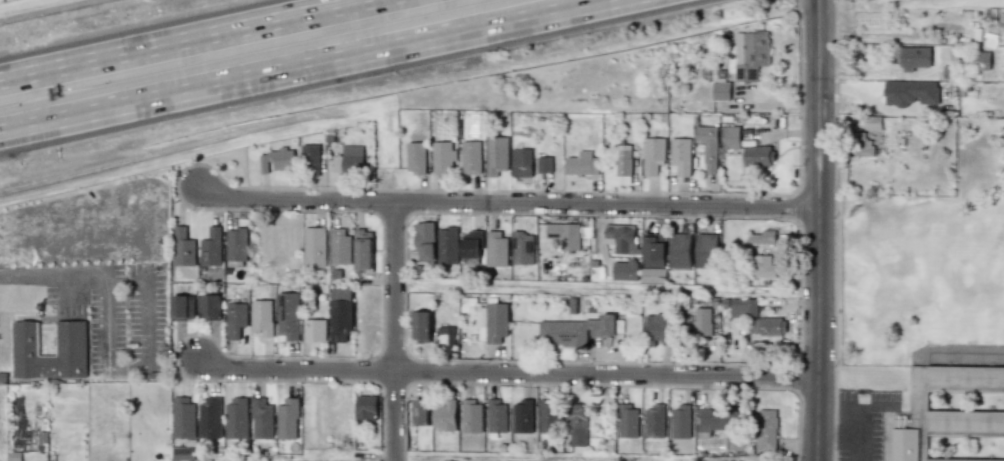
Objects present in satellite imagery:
road: (182, 39)
building: (750, 55)
building: (915, 59)
building: (981, 59)
road: (325, 68)
building: (721, 91)
building: (910, 92)
building: (873, 122)
building: (731, 137)
building: (859, 144)
building: (707, 147)
building: (497, 155)
building: (652, 155)
building: (680, 155)
building: (759, 156)
building: (443, 157)
building: (416, 158)
building: (471, 158)
building: (277, 160)
building: (310, 160)
building: (521, 163)
building: (545, 164)
building: (582, 164)
building: (623, 164)
road: (296, 200)
road: (606, 207)
road: (816, 230)
building: (565, 235)
building: (764, 237)
building: (620, 238)
building: (425, 241)
building: (236, 244)
building: (447, 245)
building: (183, 247)
building: (314, 247)
building: (340, 247)
building: (471, 247)
building: (211, 248)
building: (497, 248)
building: (523, 248)
building: (364, 250)
building: (653, 250)
building: (706, 250)
building: (680, 251)
building: (764, 266)
building: (625, 270)
road: (89, 273)
road: (35, 274)
road: (127, 278)
road: (70, 285)
road: (605, 291)
building: (183, 307)
building: (208, 307)
building: (340, 314)
building: (289, 316)
building: (262, 317)
building: (756, 318)
road: (107, 320)
building: (235, 320)
building: (702, 321)
road: (146, 323)
building: (421, 326)
building: (657, 329)
building: (314, 330)
building: (577, 330)
road: (394, 332)
building: (71, 339)
building: (446, 339)
road: (126, 367)
road: (505, 373)
road: (873, 406)
building: (366, 408)
building: (421, 412)
building: (444, 414)
building: (548, 415)
building: (957, 415)
building: (472, 416)
building: (496, 416)
building: (523, 416)
building: (183, 418)
building: (209, 418)
building: (236, 418)
building: (262, 418)
building: (287, 419)
building: (628, 421)
building: (654, 421)
road: (856, 421)
building: (680, 422)
building: (712, 422)
building: (576, 424)
building: (766, 429)
road: (835, 435)
road: (856, 448)
road: (469, 458)

